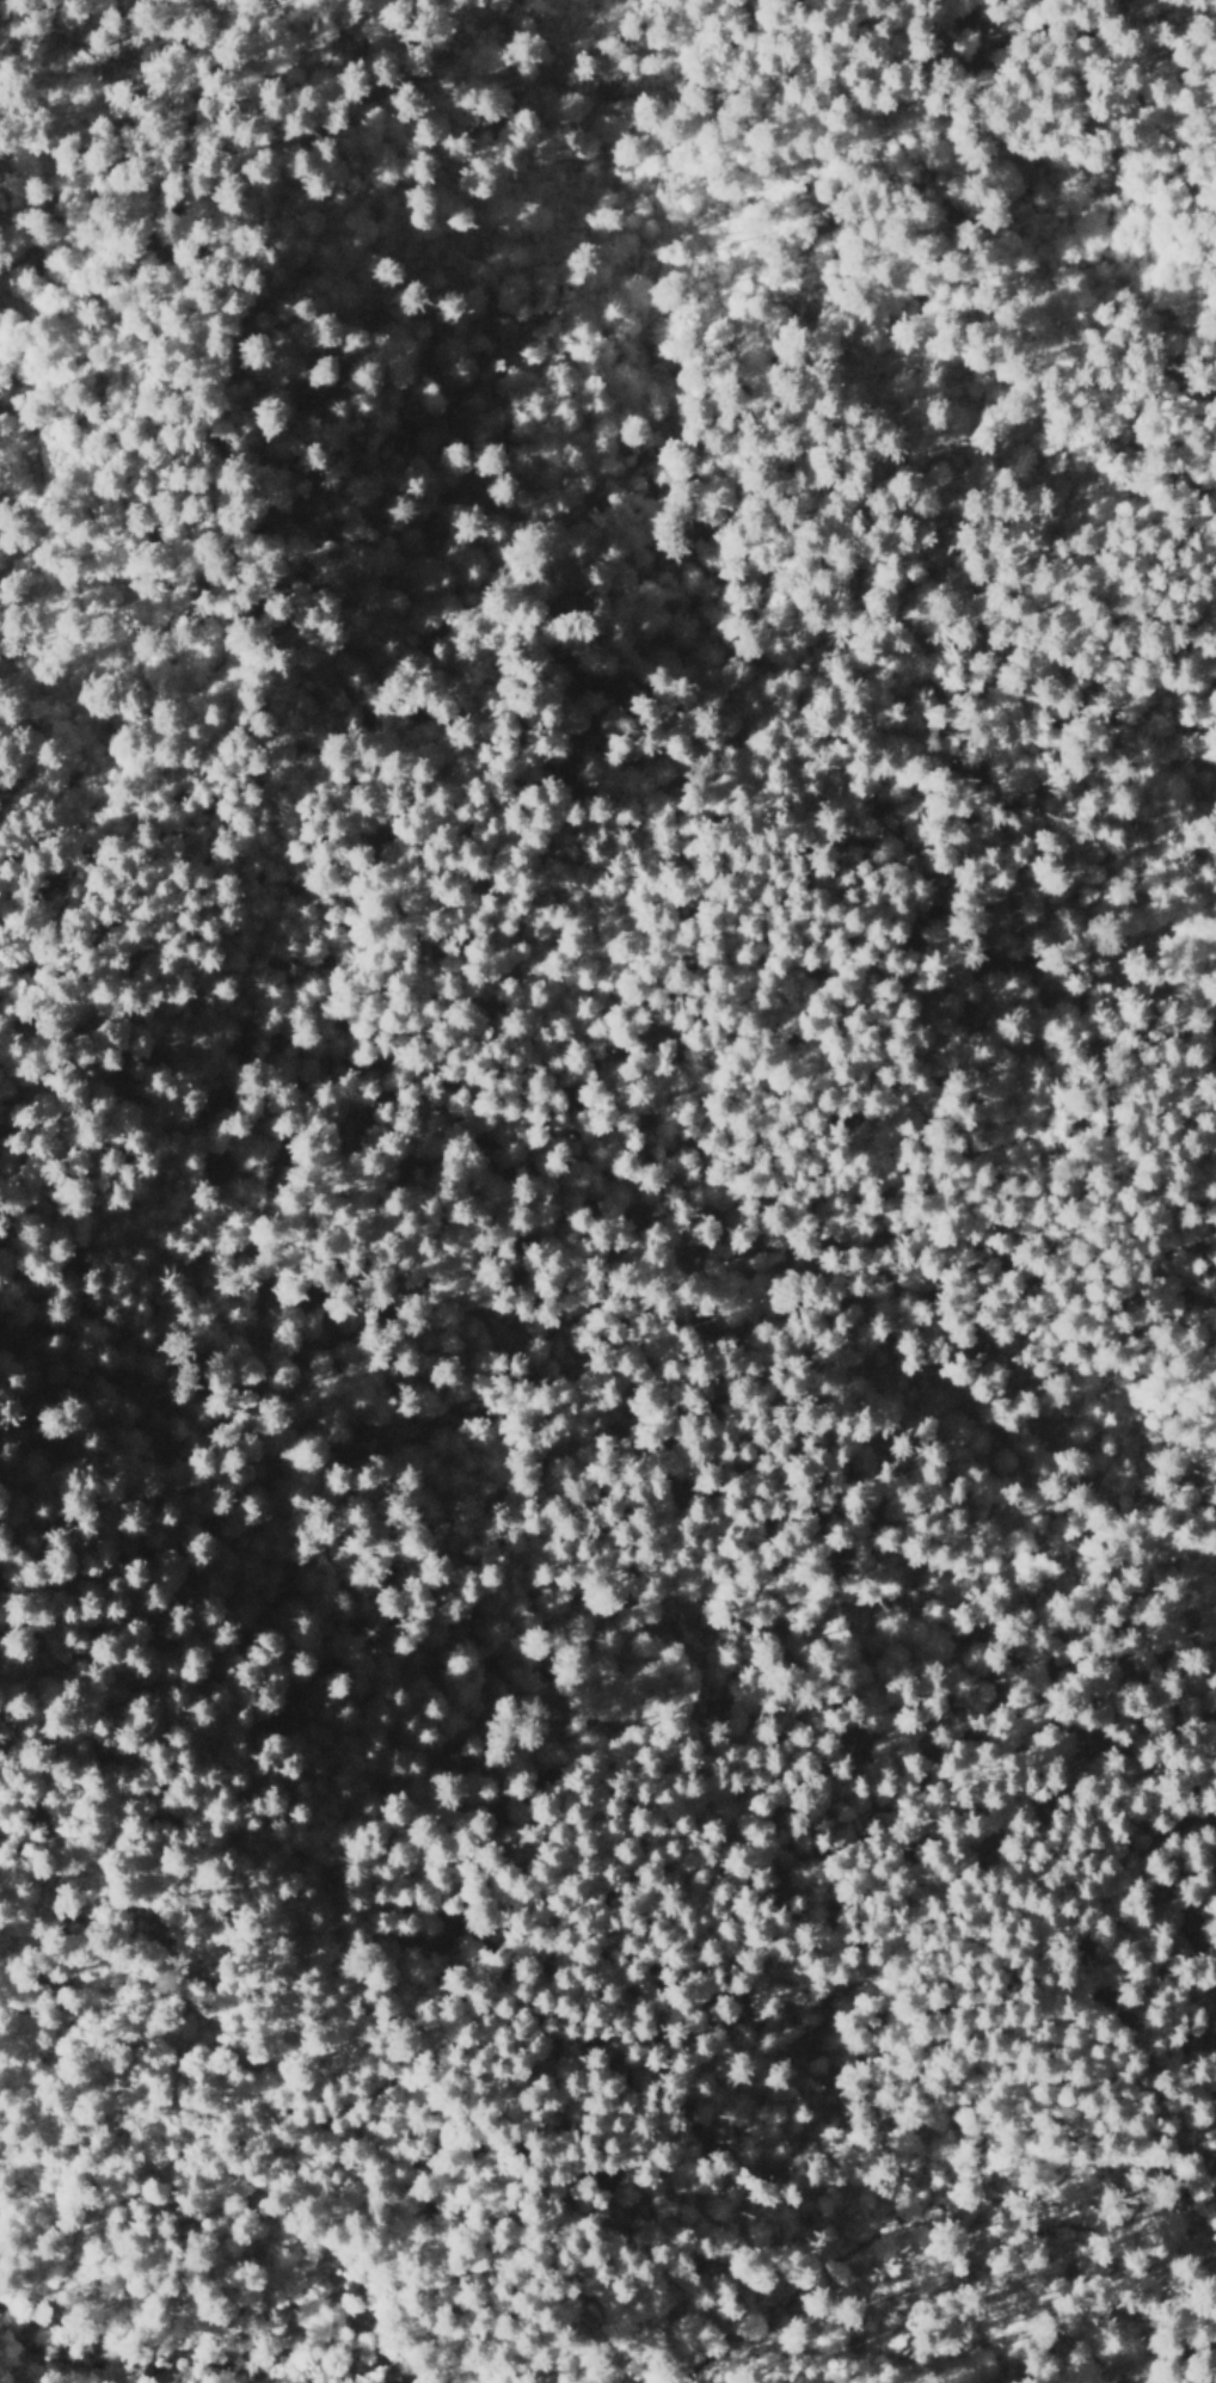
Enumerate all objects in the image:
road: (673, 886)

